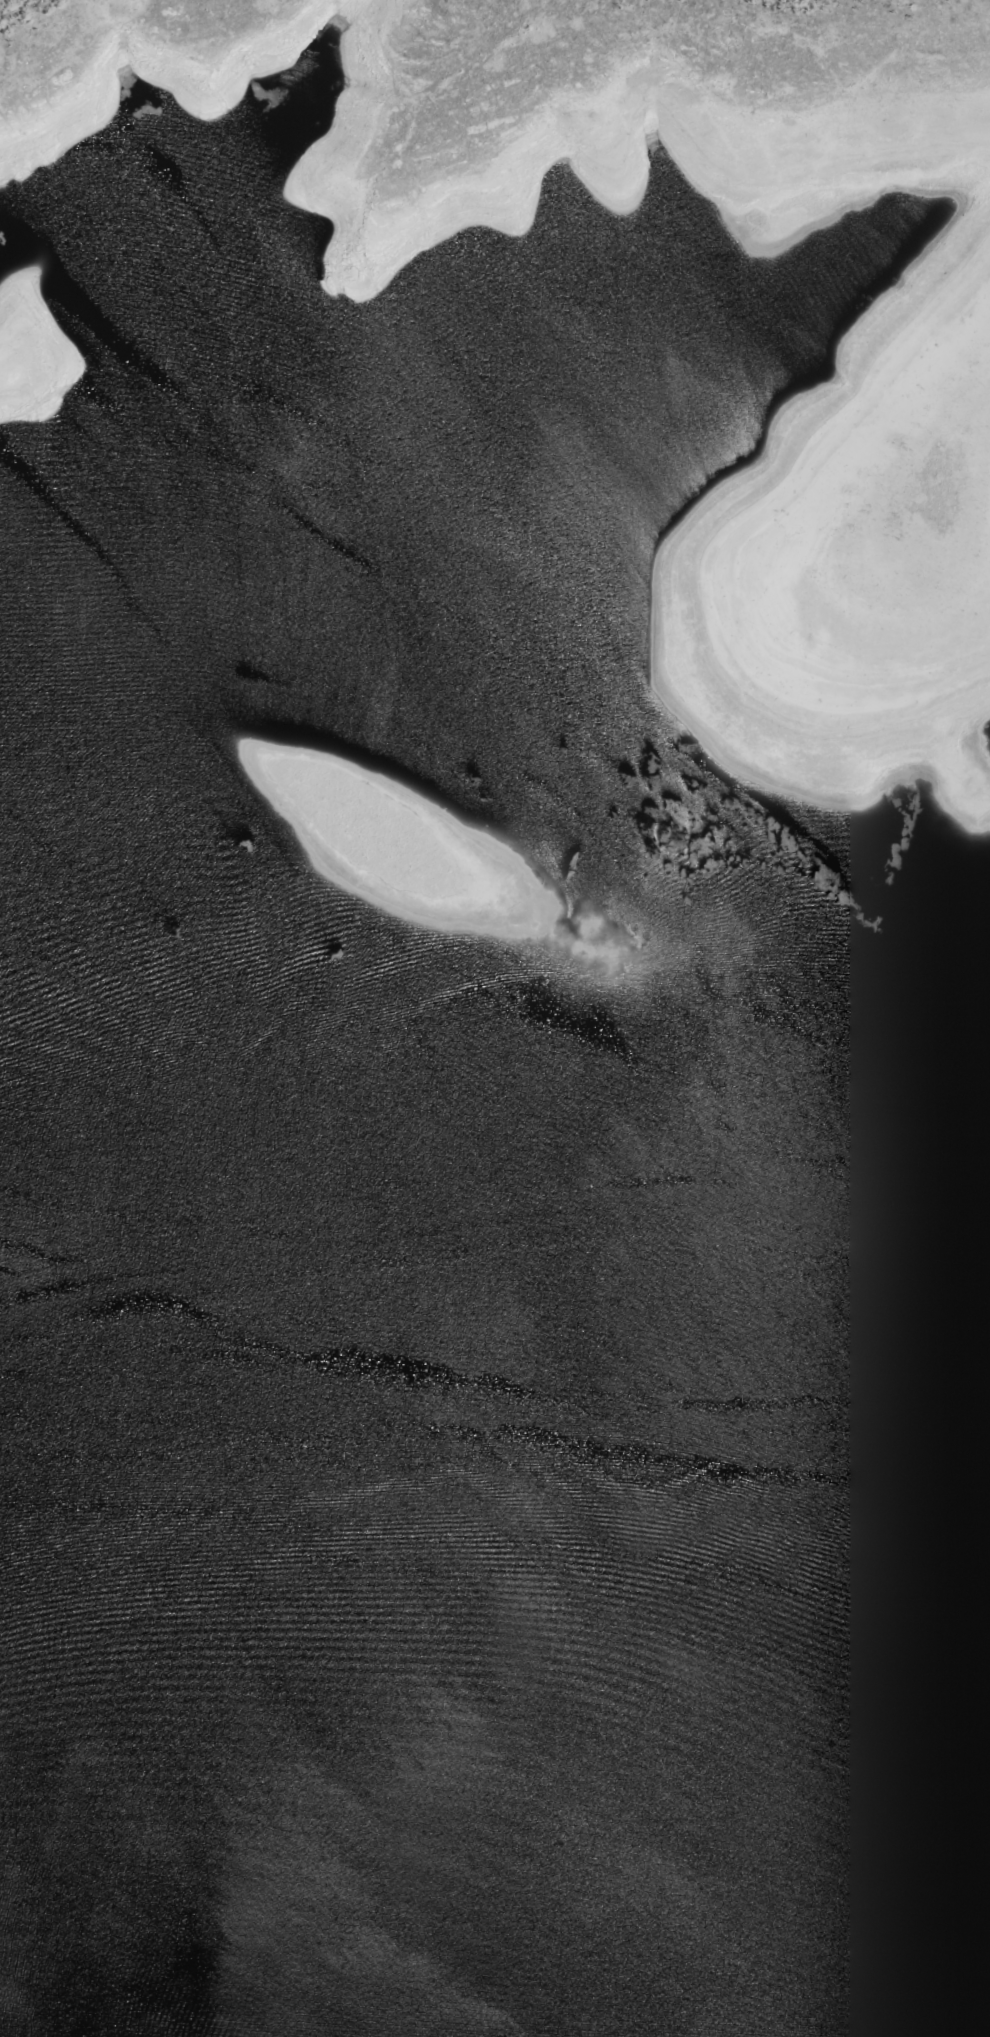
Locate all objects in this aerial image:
river: (488, 1971)

